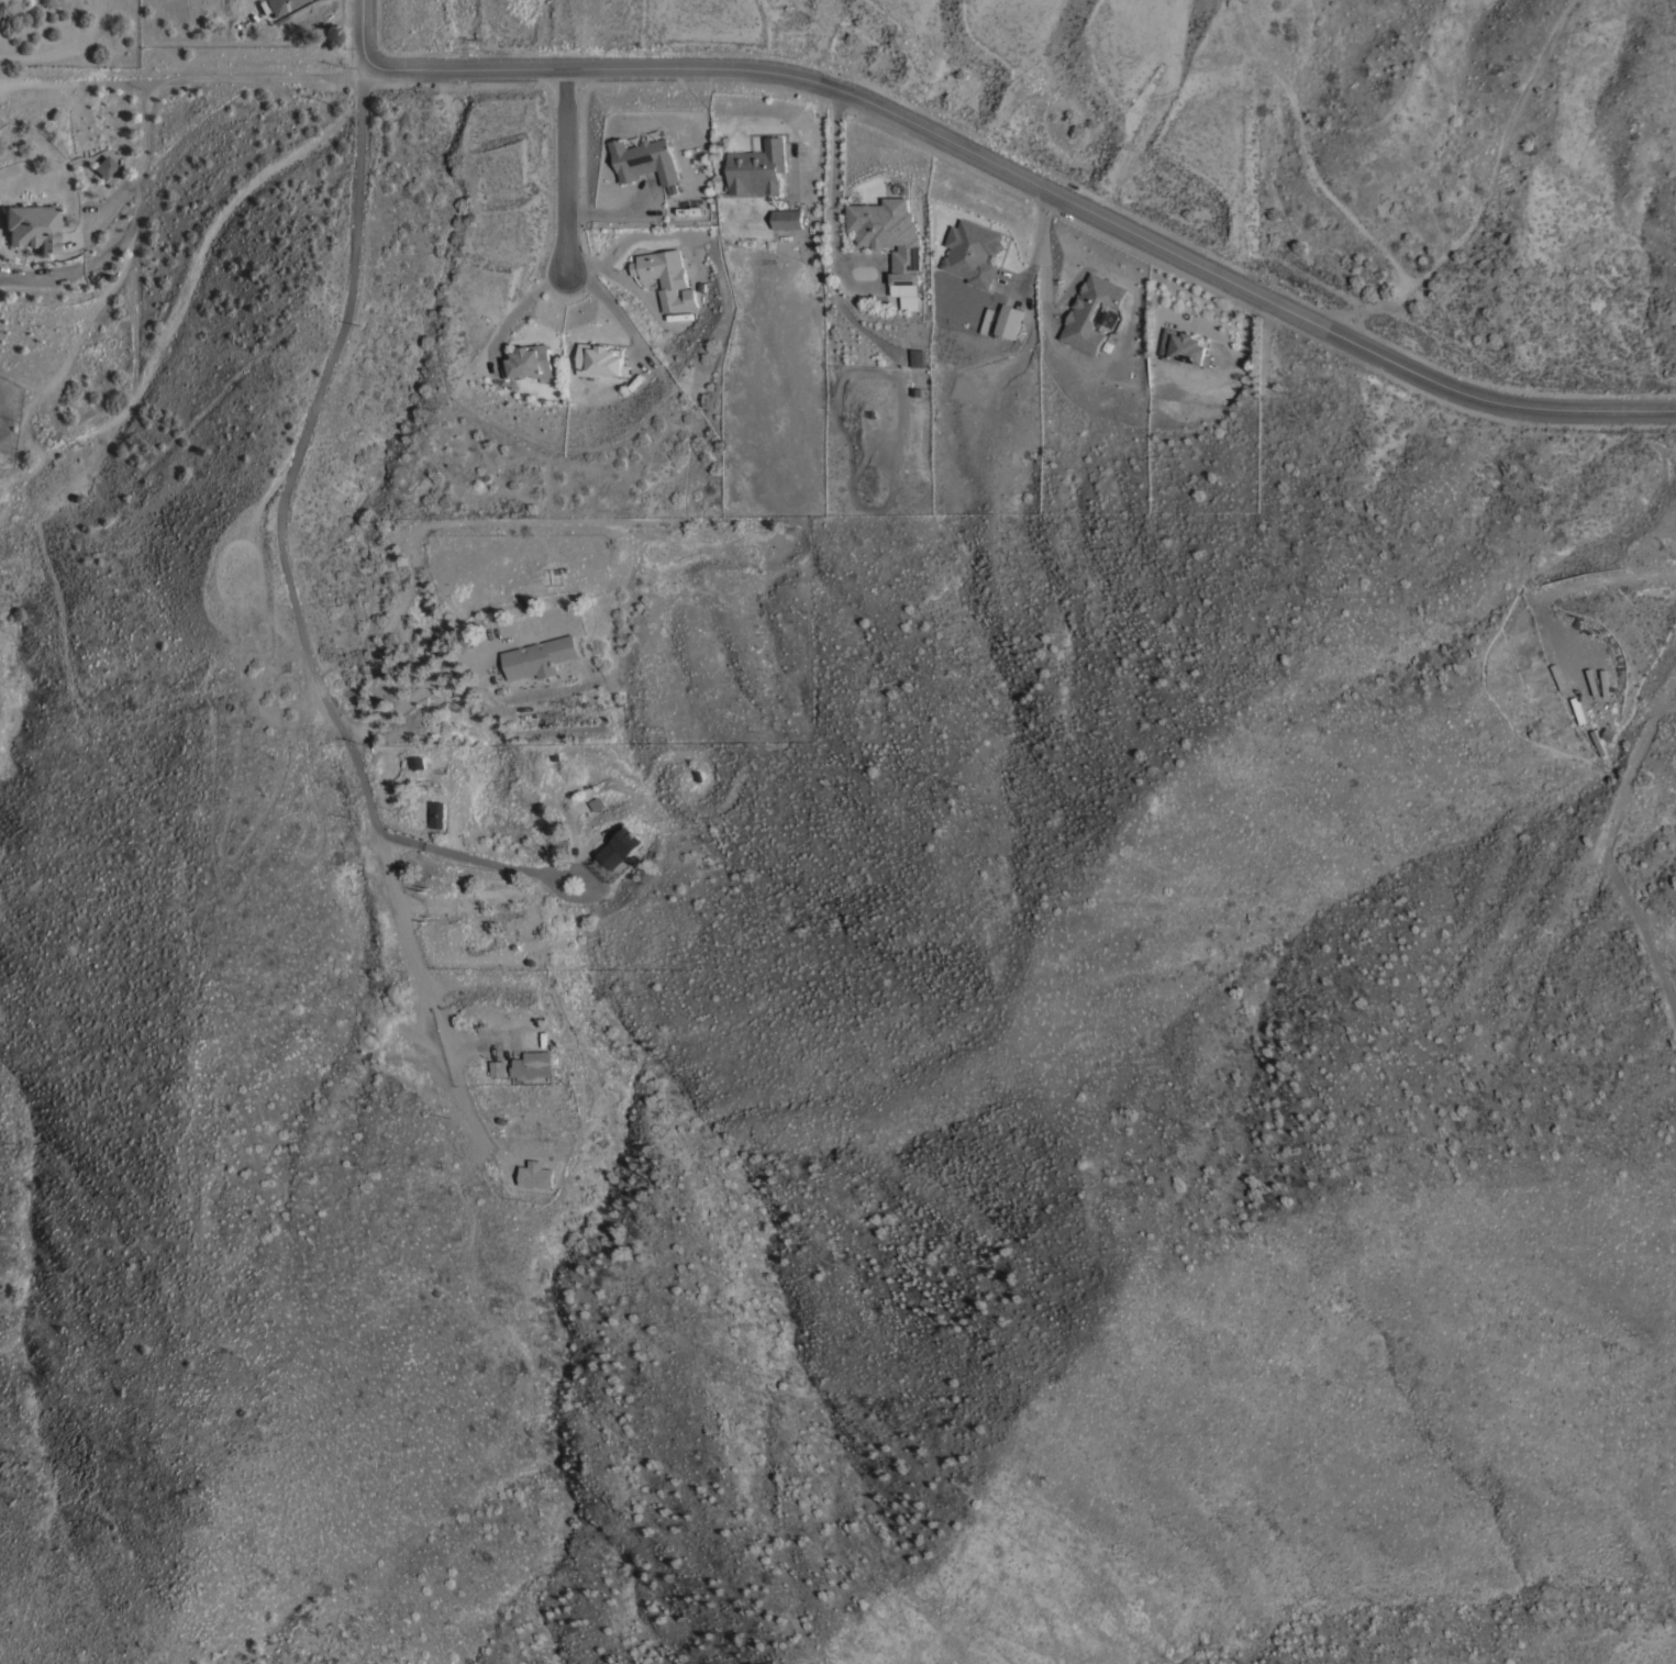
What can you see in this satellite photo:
building: (280, 5)
road: (181, 79)
road: (821, 141)
building: (644, 158)
building: (102, 167)
building: (758, 167)
road: (564, 171)
road: (1034, 186)
building: (787, 218)
building: (32, 226)
road: (131, 229)
building: (890, 236)
road: (834, 241)
building: (974, 251)
building: (665, 276)
road: (1043, 278)
road: (610, 300)
building: (1090, 311)
building: (1185, 346)
building: (601, 358)
building: (531, 362)
road: (135, 400)
road: (290, 591)
building: (540, 656)
building: (437, 812)
road: (464, 853)
building: (618, 853)
building: (532, 1063)
building: (497, 1067)
building: (535, 1173)

